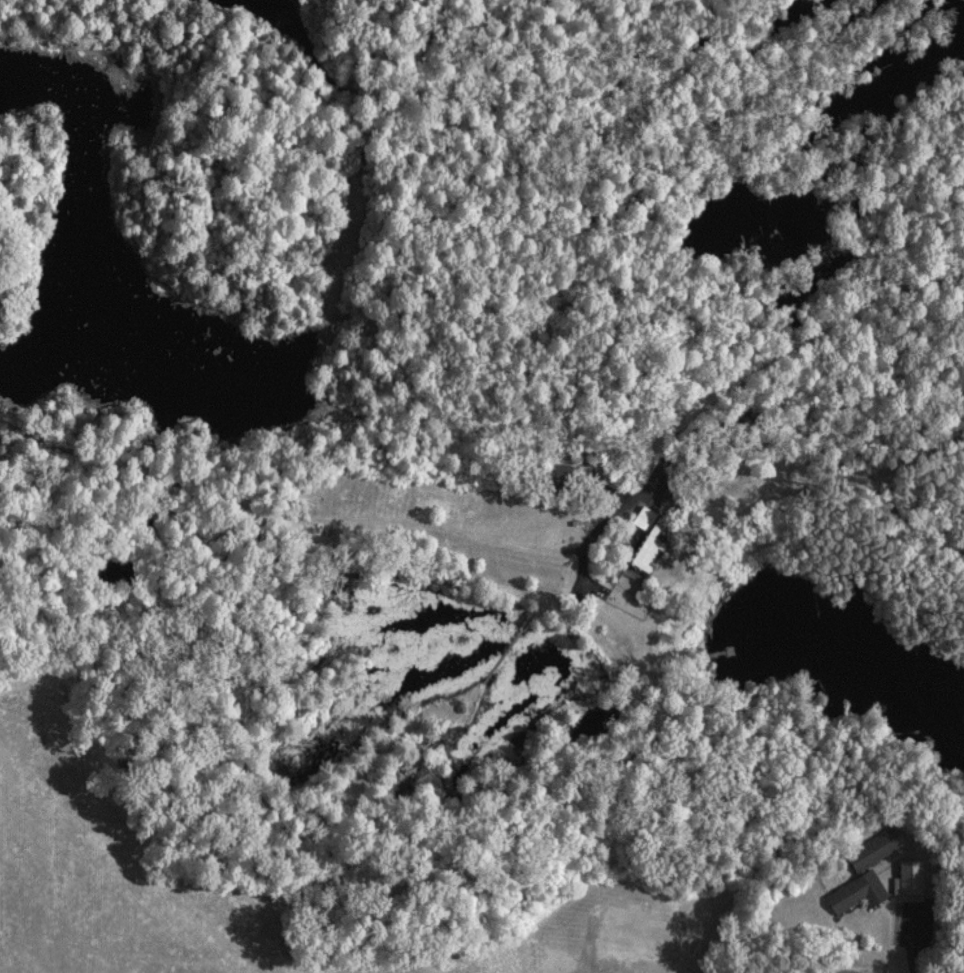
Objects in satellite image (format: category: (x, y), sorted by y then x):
road: (783, 356)
building: (642, 539)
building: (871, 848)
building: (906, 876)
building: (854, 891)
road: (853, 972)

